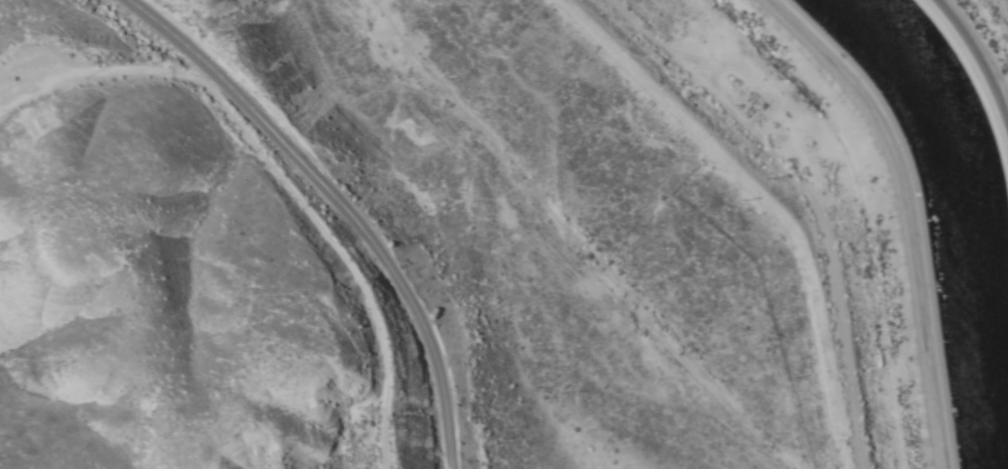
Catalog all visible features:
road: (988, 29)
road: (84, 71)
road: (755, 188)
road: (808, 197)
road: (341, 205)
road: (916, 215)
road: (315, 272)

